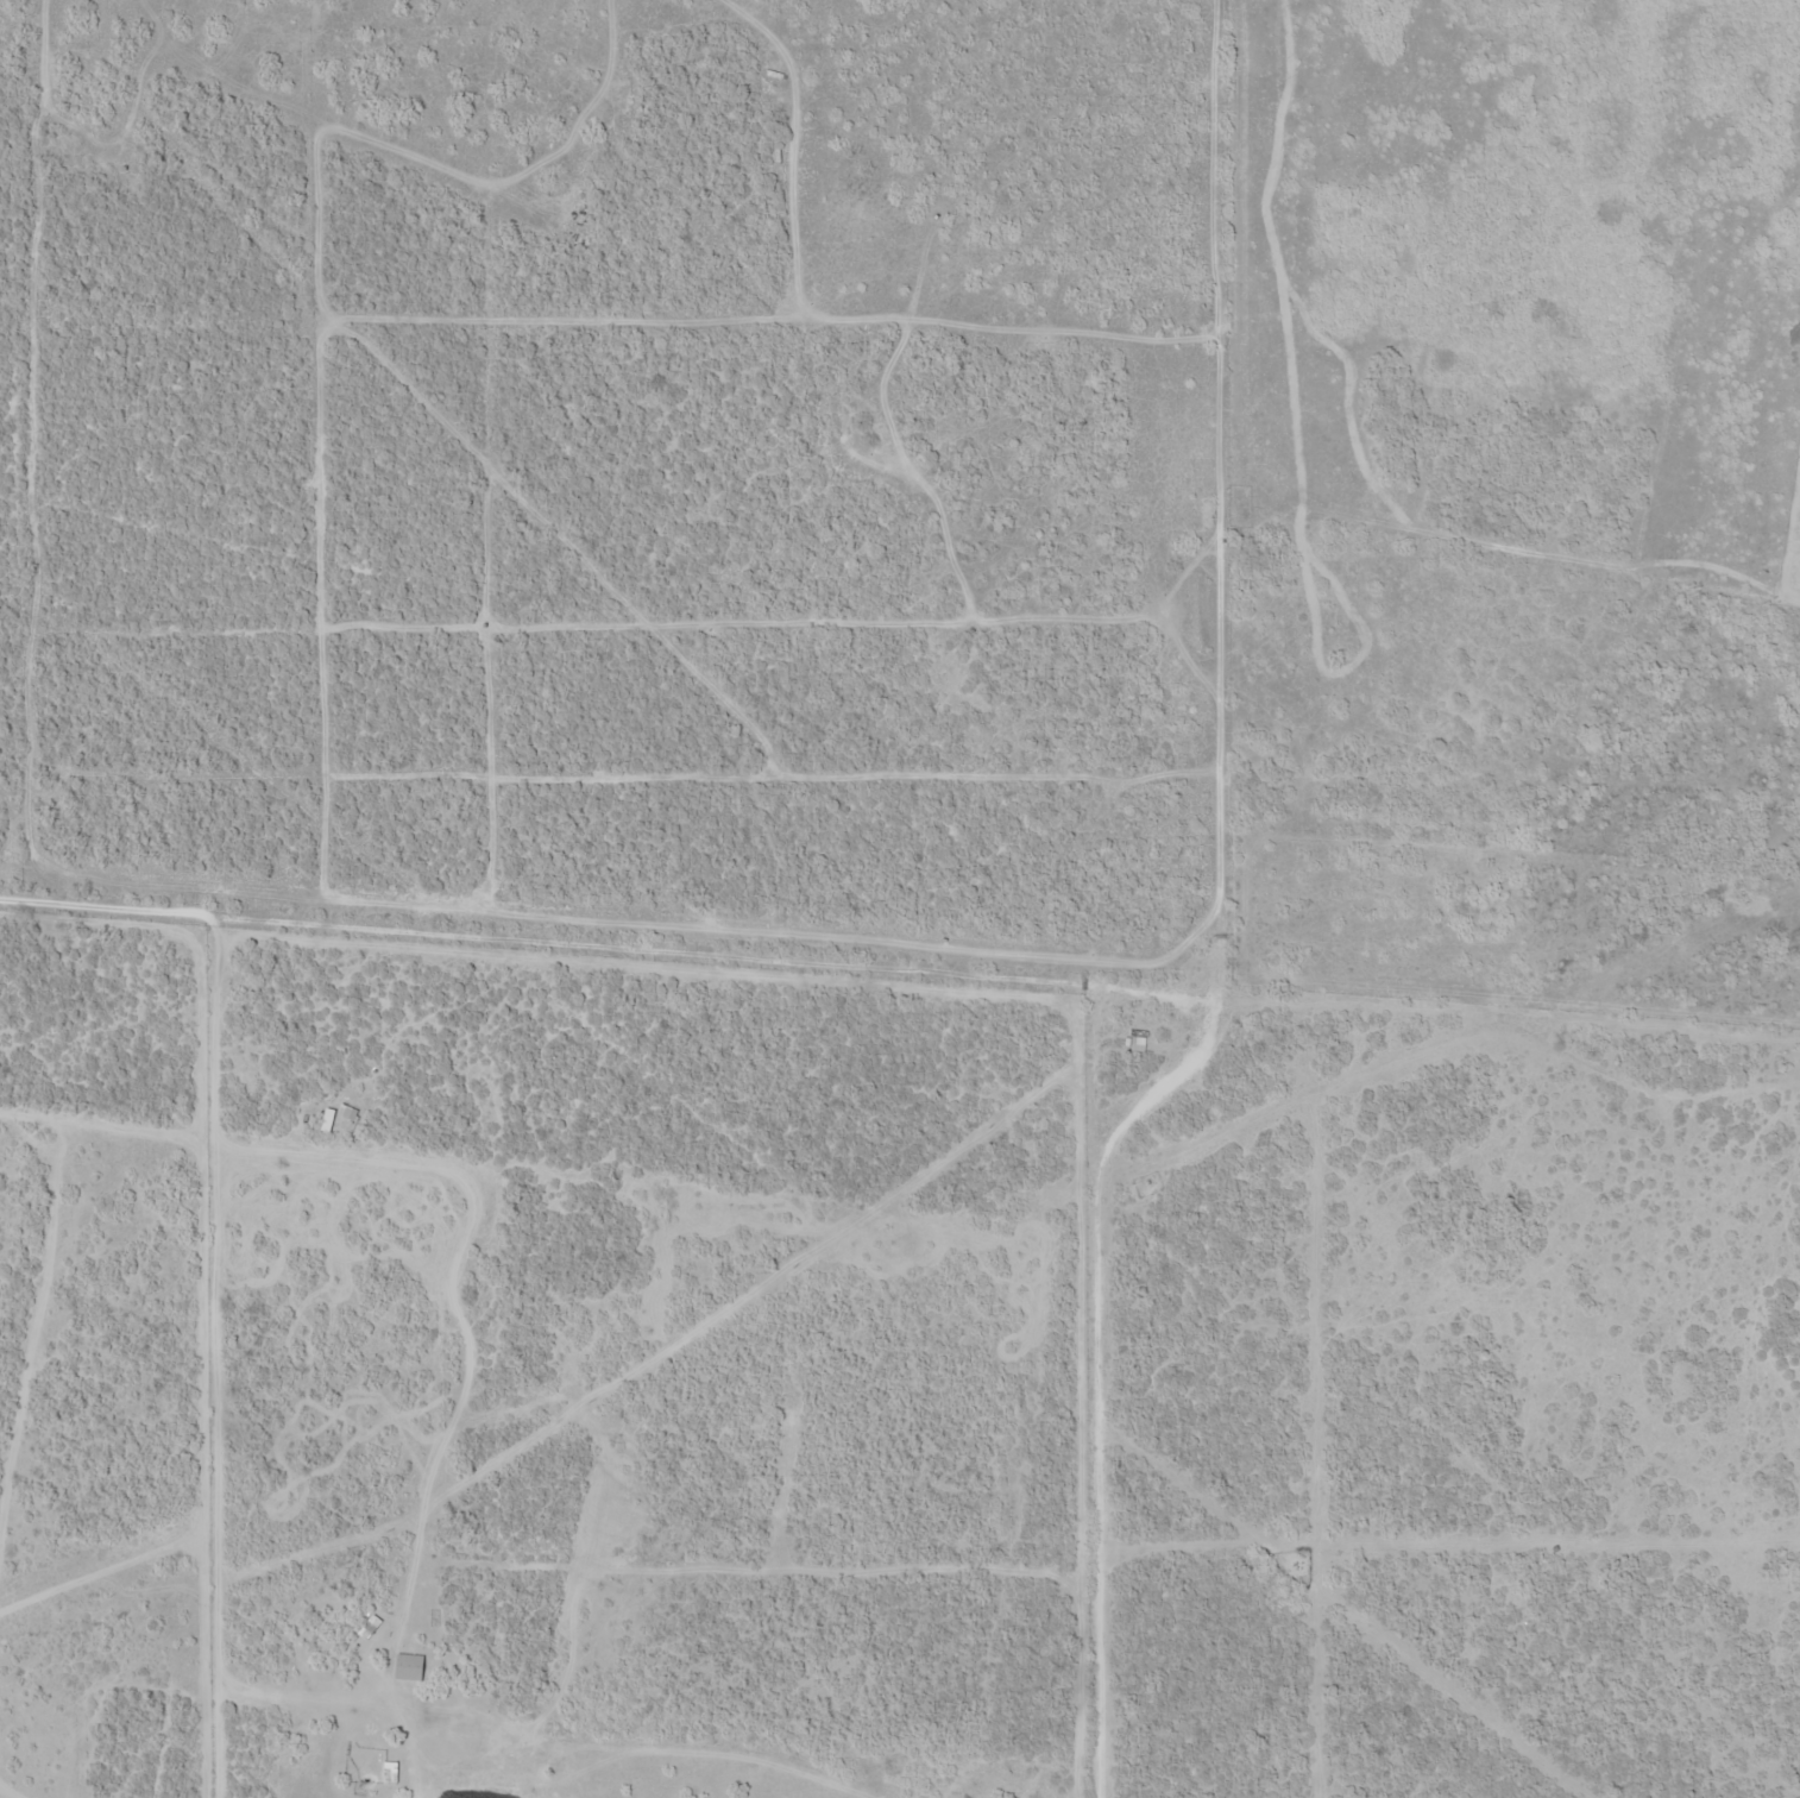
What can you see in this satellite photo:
building: (1135, 1041)
building: (345, 1112)

